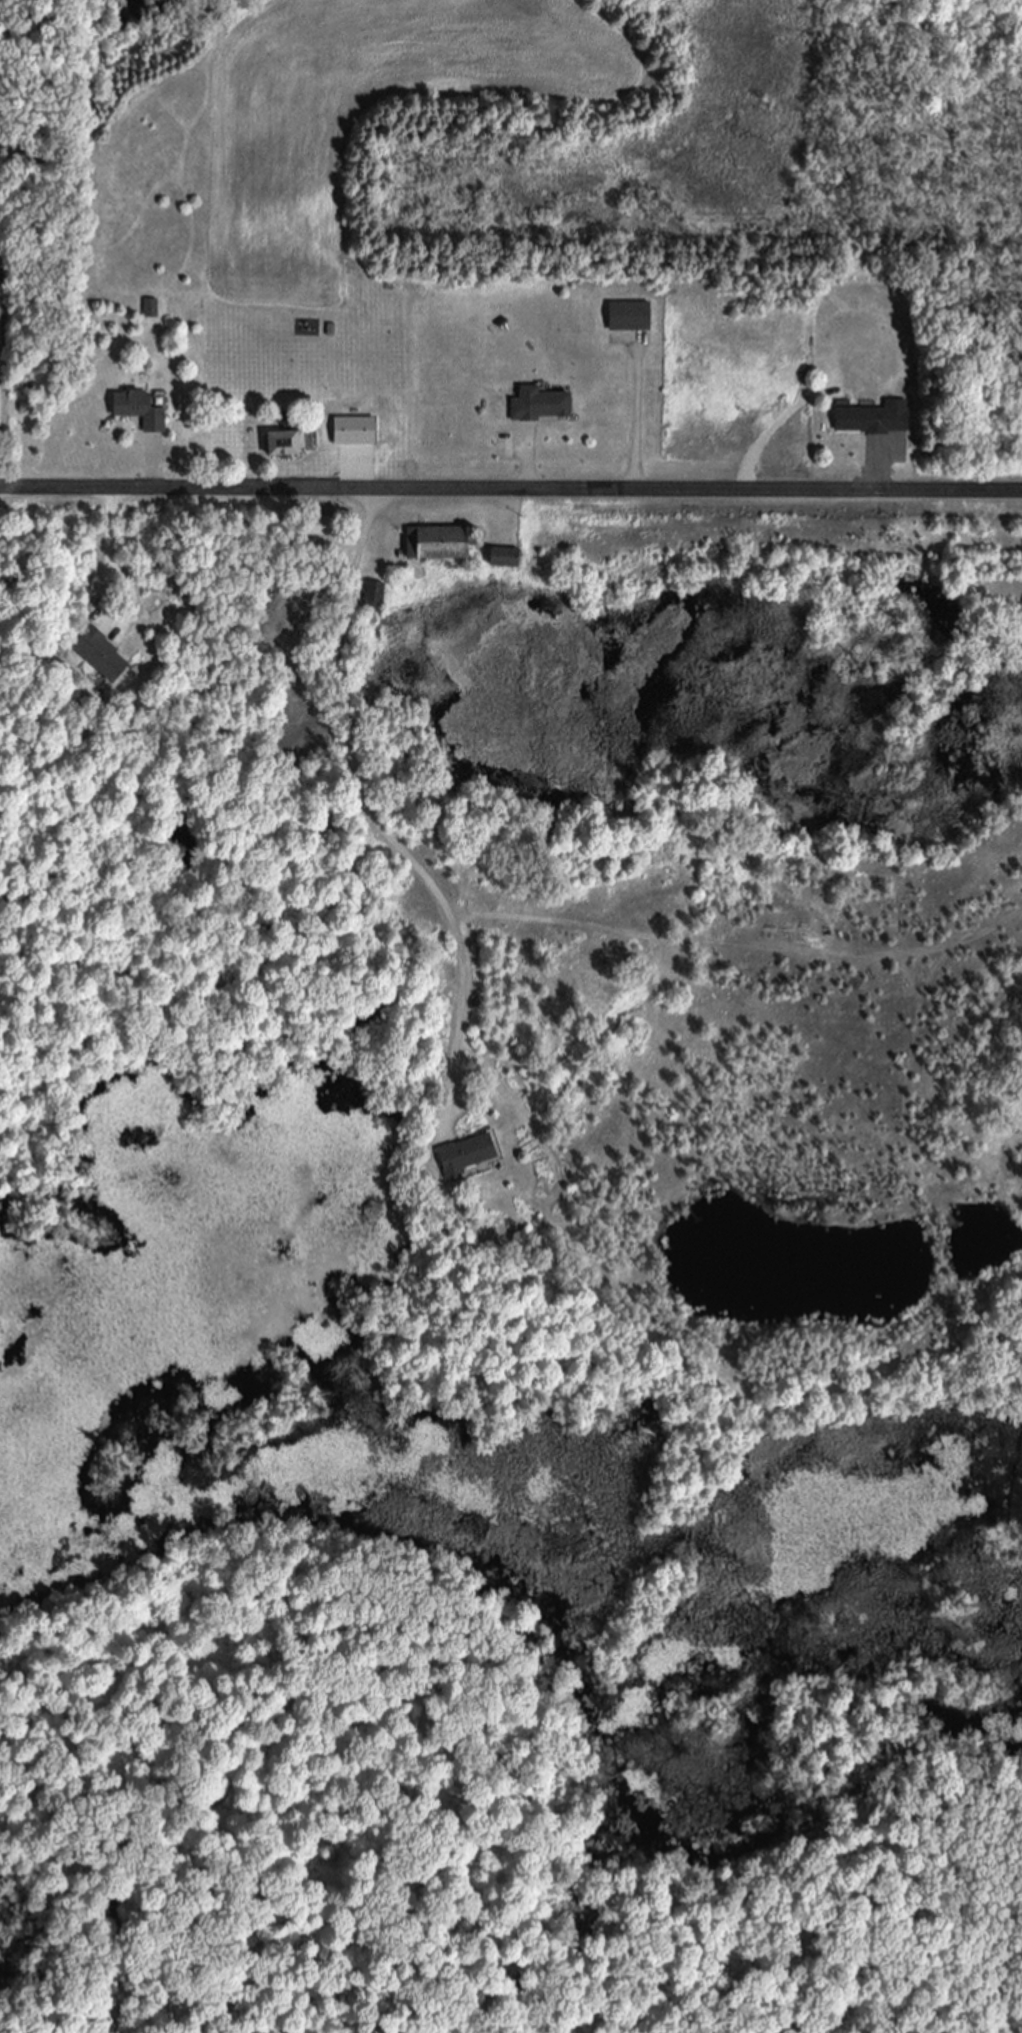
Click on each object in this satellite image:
building: (1, 281)
building: (150, 310)
building: (629, 318)
building: (539, 406)
building: (139, 412)
road: (635, 419)
building: (873, 420)
building: (353, 432)
building: (286, 445)
road: (524, 464)
road: (151, 469)
road: (355, 474)
road: (871, 474)
road: (511, 490)
building: (321, 528)
building: (439, 543)
building: (504, 559)
building: (373, 598)
road: (102, 603)
building: (100, 657)
road: (368, 813)
building: (466, 1157)

